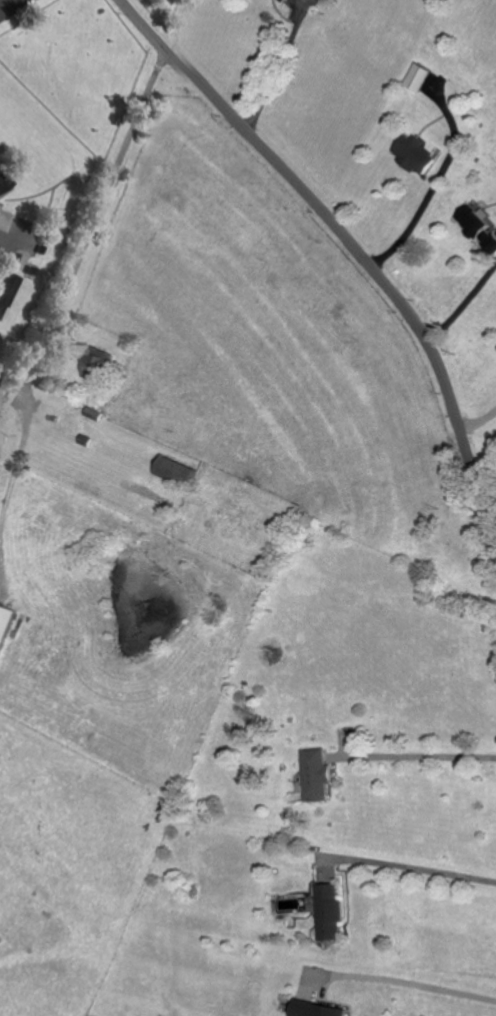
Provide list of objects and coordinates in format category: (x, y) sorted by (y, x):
building: (278, 0)
road: (4, 2)
park: (154, 13)
road: (273, 63)
building: (415, 77)
building: (411, 153)
road: (435, 183)
building: (1, 184)
building: (476, 225)
road: (7, 235)
road: (349, 241)
road: (68, 278)
building: (5, 286)
road: (465, 306)
building: (96, 361)
building: (94, 412)
road: (479, 420)
building: (175, 470)
road: (3, 573)
building: (5, 623)
road: (420, 747)
building: (315, 775)
road: (410, 859)
building: (329, 912)
road: (413, 975)
building: (315, 1009)

